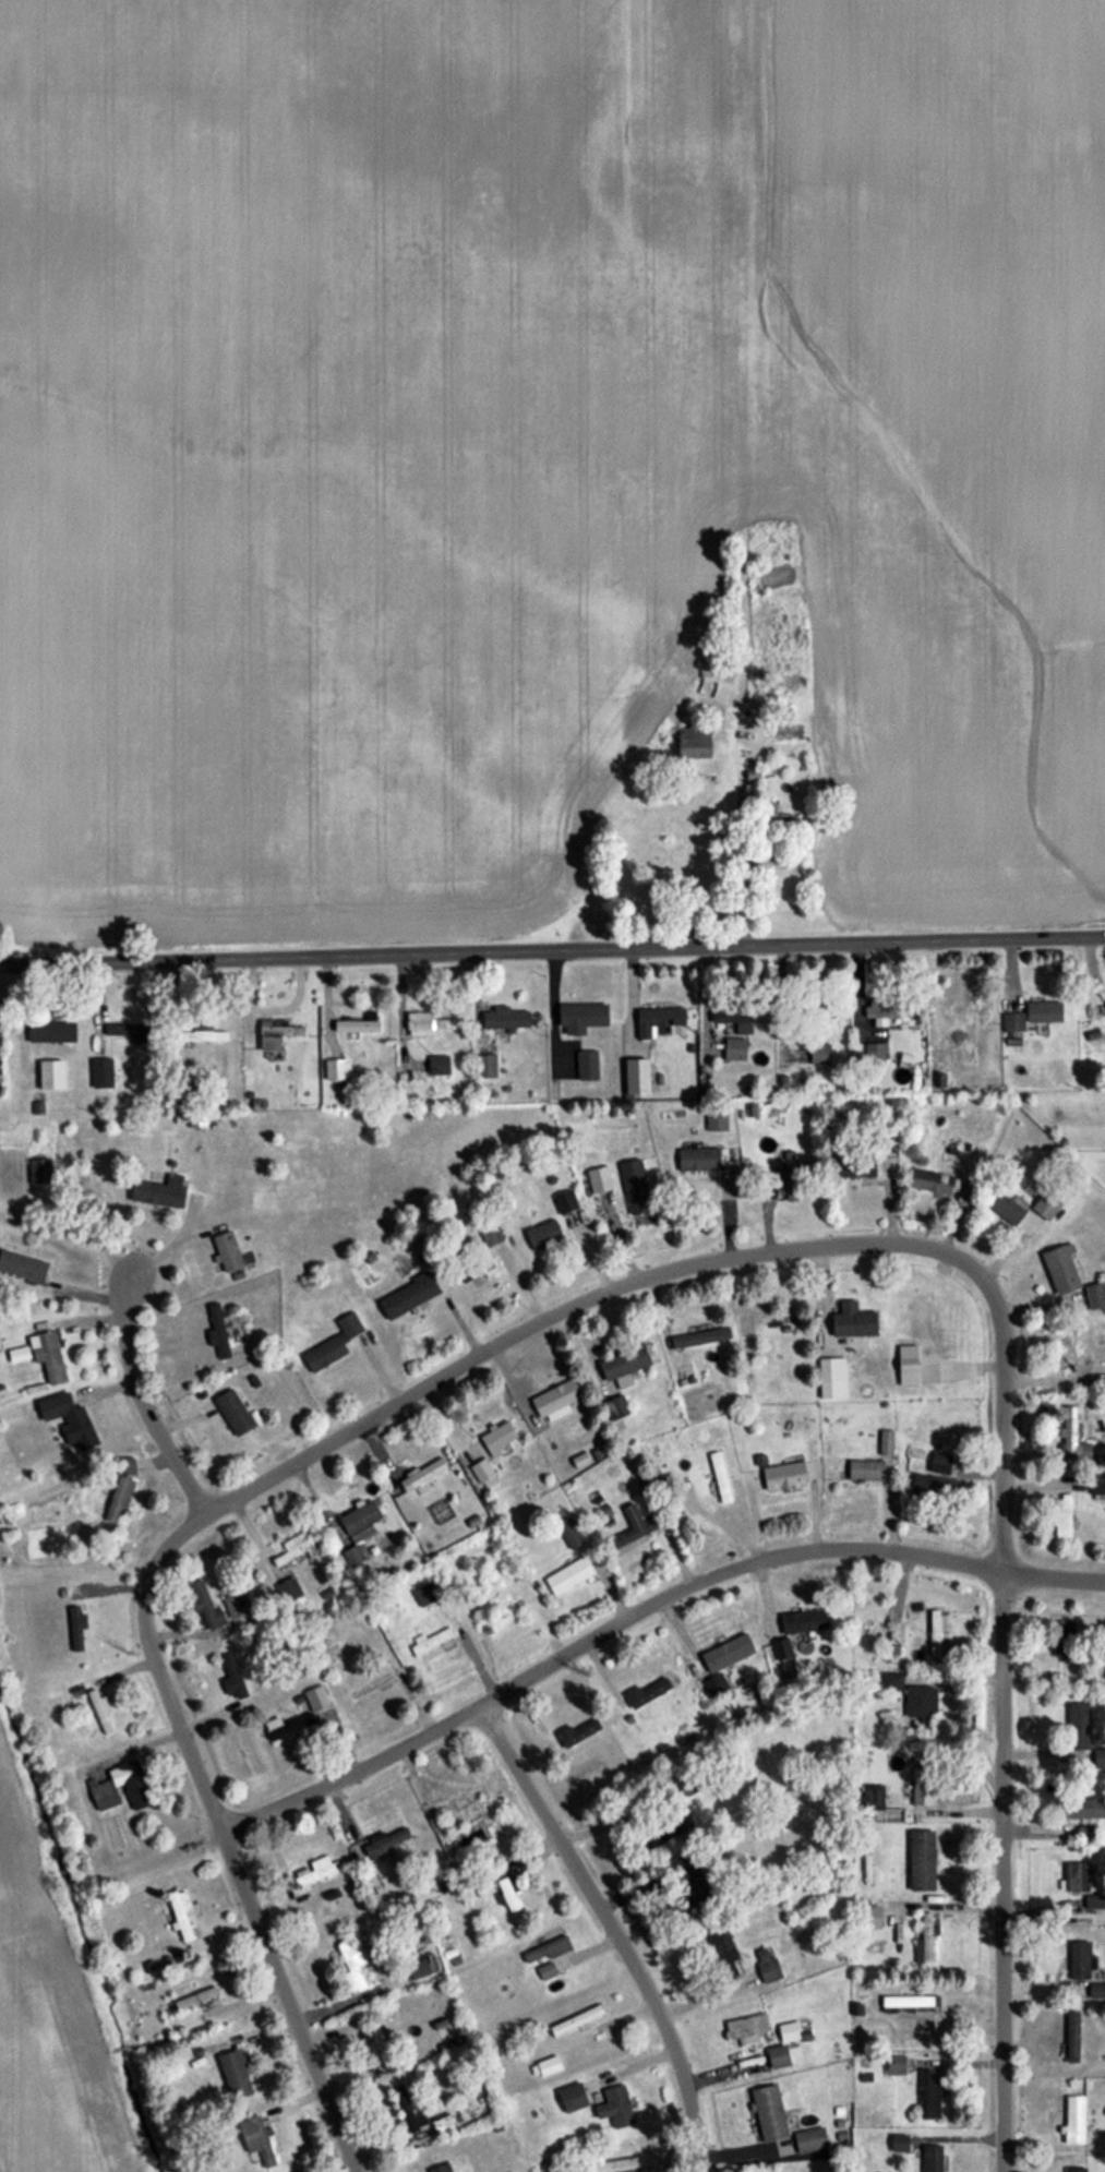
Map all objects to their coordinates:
building: (696, 742)
road: (552, 949)
building: (890, 1008)
building: (965, 1008)
building: (1045, 1011)
building: (582, 1017)
building: (506, 1018)
building: (737, 1019)
building: (660, 1021)
building: (1013, 1022)
building: (428, 1024)
building: (358, 1025)
building: (52, 1031)
building: (132, 1031)
building: (278, 1033)
building: (206, 1036)
building: (736, 1048)
building: (820, 1053)
building: (875, 1053)
building: (963, 1053)
building: (439, 1065)
building: (588, 1065)
building: (485, 1066)
building: (336, 1070)
building: (103, 1072)
building: (52, 1075)
building: (638, 1076)
building: (717, 1118)
building: (699, 1159)
building: (857, 1165)
building: (40, 1171)
building: (789, 1176)
building: (600, 1178)
building: (933, 1180)
building: (636, 1186)
building: (160, 1191)
building: (566, 1201)
building: (1048, 1204)
building: (1007, 1208)
building: (545, 1234)
building: (228, 1251)
building: (482, 1270)
building: (1062, 1270)
building: (410, 1295)
building: (1096, 1295)
road: (568, 1307)
building: (855, 1320)
building: (922, 1320)
building: (770, 1324)
building: (218, 1332)
building: (701, 1337)
building: (334, 1344)
building: (1068, 1353)
building: (49, 1356)
building: (626, 1365)
building: (1096, 1373)
building: (832, 1378)
road: (139, 1395)
building: (557, 1397)
building: (617, 1407)
building: (235, 1413)
building: (69, 1417)
building: (795, 1421)
building: (1066, 1432)
building: (501, 1438)
building: (941, 1463)
building: (483, 1471)
building: (866, 1471)
building: (423, 1474)
building: (785, 1475)
building: (720, 1477)
building: (121, 1492)
building: (1064, 1517)
building: (635, 1526)
building: (360, 1529)
building: (570, 1533)
building: (297, 1548)
building: (570, 1575)
building: (237, 1603)
building: (207, 1607)
building: (805, 1620)
building: (77, 1628)
building: (939, 1632)
building: (891, 1639)
building: (1066, 1641)
building: (436, 1645)
building: (782, 1648)
road: (563, 1653)
building: (728, 1653)
building: (892, 1681)
building: (649, 1692)
building: (317, 1697)
building: (922, 1701)
road: (999, 1718)
building: (1081, 1721)
building: (287, 1726)
building: (581, 1732)
building: (1093, 1759)
building: (104, 1785)
building: (923, 1786)
building: (1091, 1808)
building: (454, 1822)
road: (217, 1834)
building: (385, 1843)
building: (923, 1860)
building: (316, 1870)
building: (1077, 1876)
building: (694, 1879)
building: (512, 1901)
building: (181, 1916)
building: (870, 1917)
road: (612, 1928)
building: (927, 1936)
building: (723, 1949)
building: (548, 1955)
building: (1081, 1959)
building: (355, 1966)
building: (419, 1967)
building: (770, 1968)
building: (1097, 1990)
building: (908, 2003)
building: (577, 2019)
building: (746, 2028)
building: (790, 2031)
building: (1073, 2036)
building: (381, 2048)
building: (779, 2056)
building: (553, 2063)
building: (897, 2065)
building: (237, 2074)
building: (930, 2095)
building: (574, 2097)
building: (616, 2107)
building: (409, 2111)
building: (770, 2113)
building: (1076, 2119)
building: (443, 2124)
building: (257, 2139)
building: (810, 2139)
building: (933, 2158)
building: (613, 2165)
building: (442, 2169)
building: (1076, 2169)

